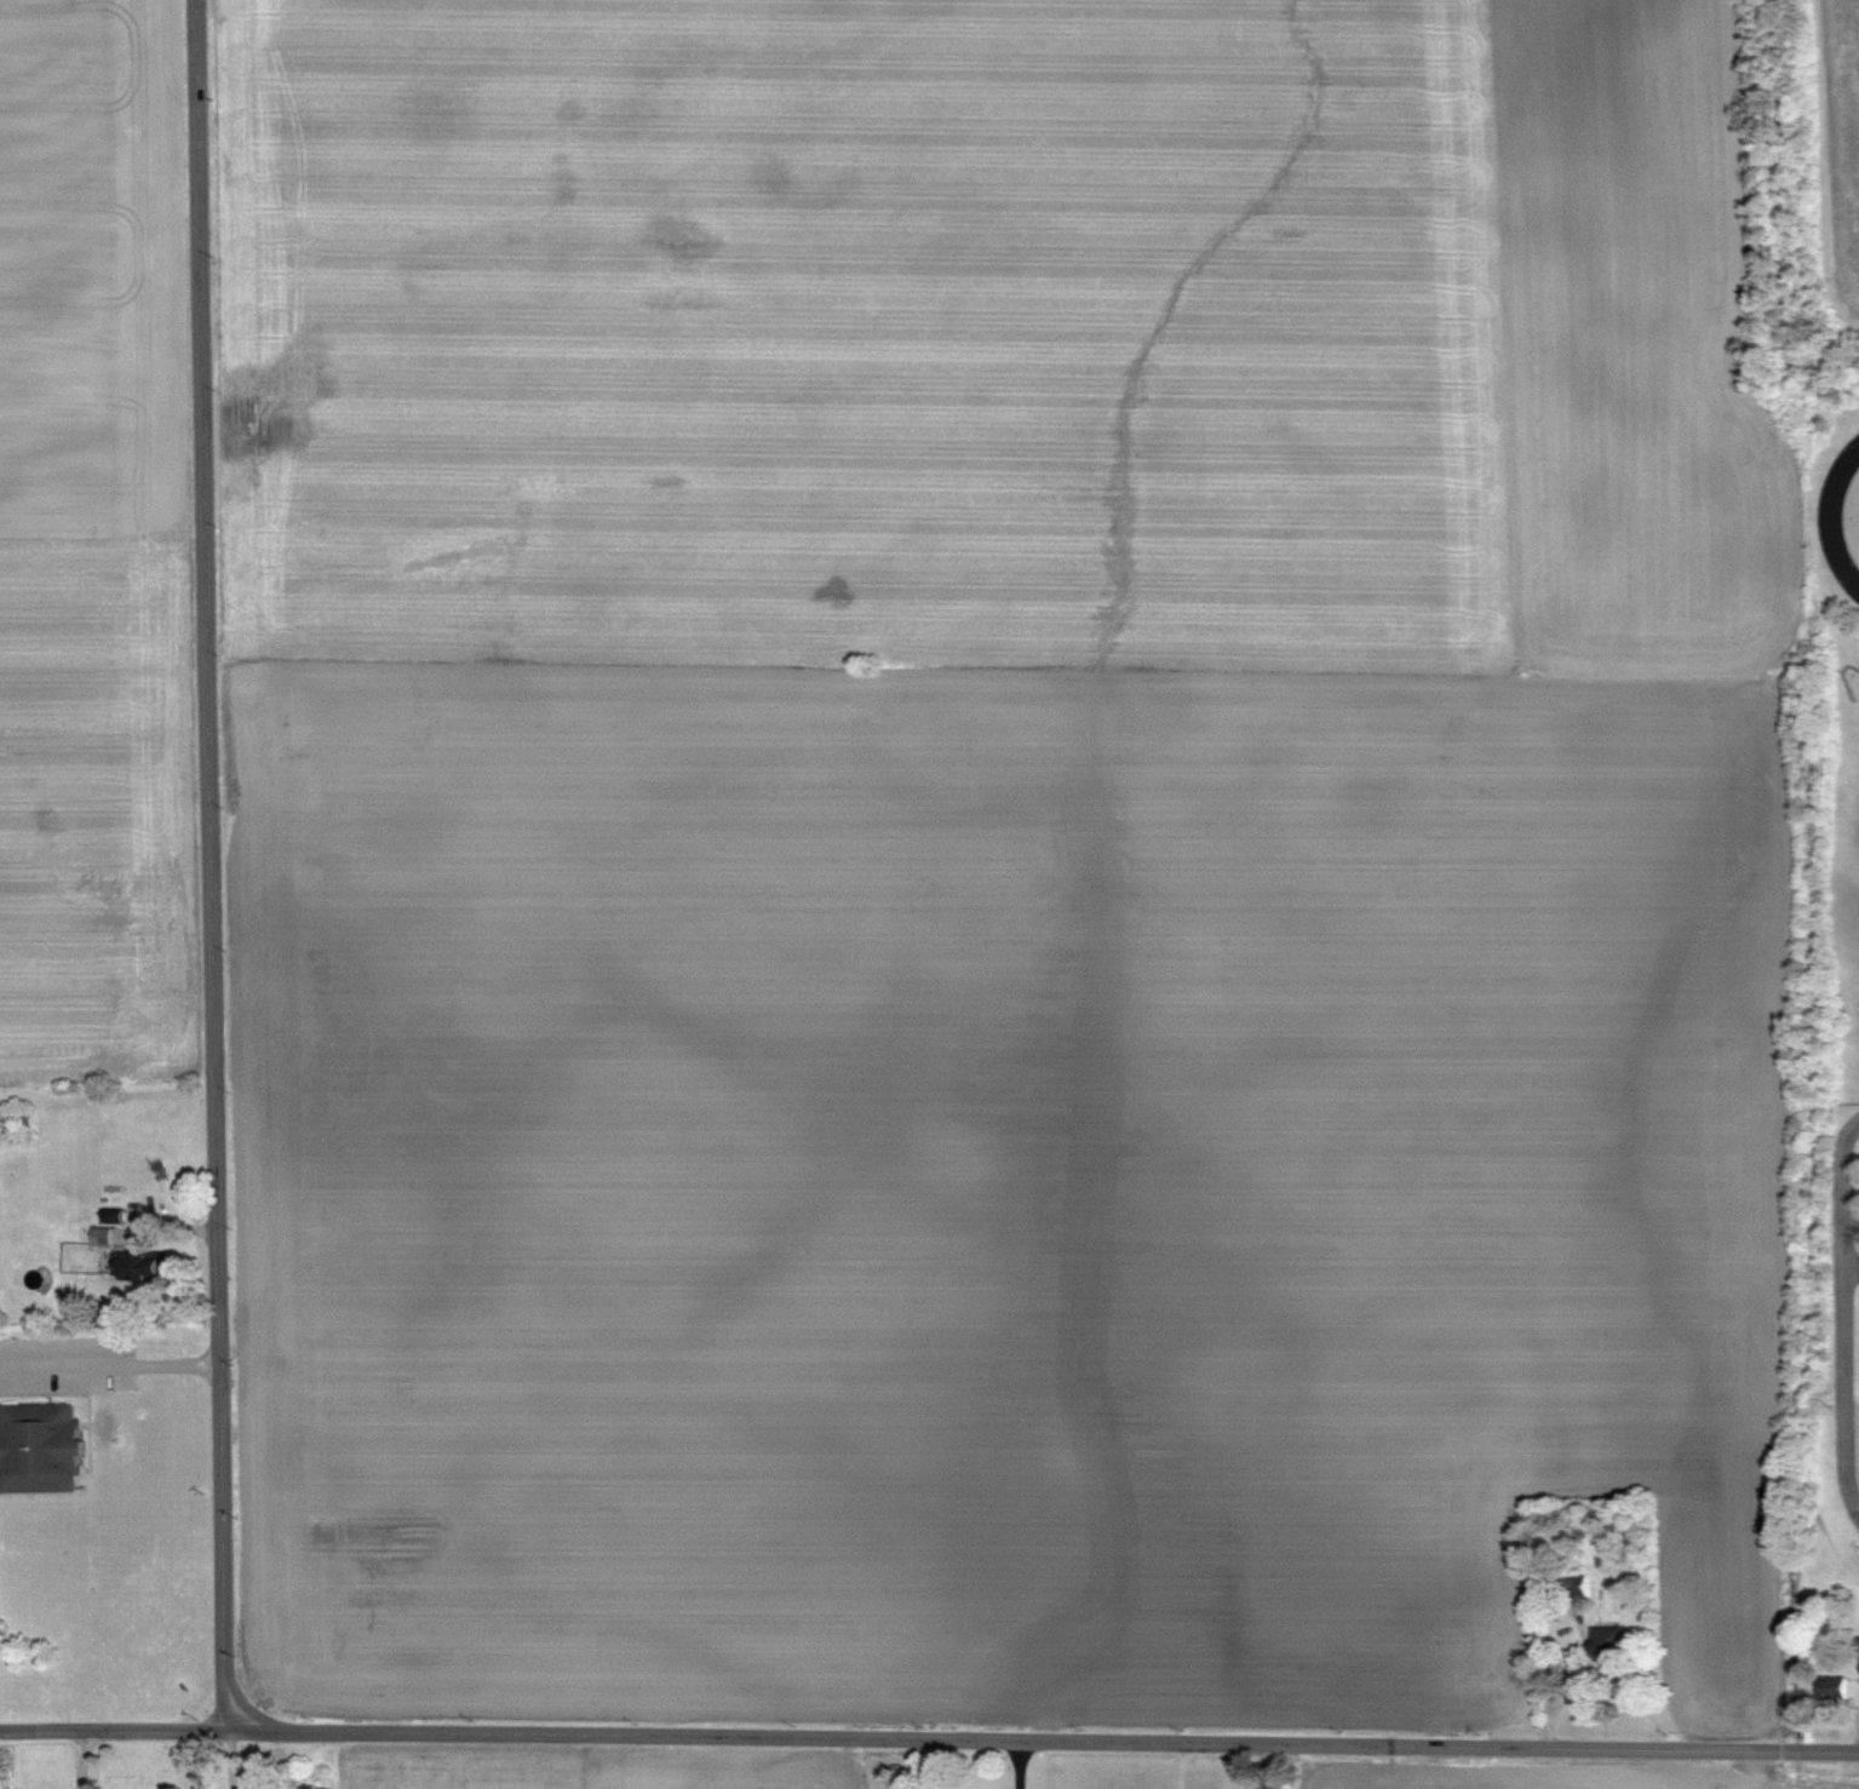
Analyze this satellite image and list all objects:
track: (1838, 520)
road: (213, 865)
road: (1851, 1265)
building: (138, 1266)
road: (1843, 1312)
road: (111, 1360)
building: (38, 1449)
building: (1571, 1590)
building: (1603, 1642)
building: (1858, 1653)
building: (1831, 1687)
road: (929, 1741)
road: (1181, 1764)
road: (1267, 1765)
road: (1017, 1766)

